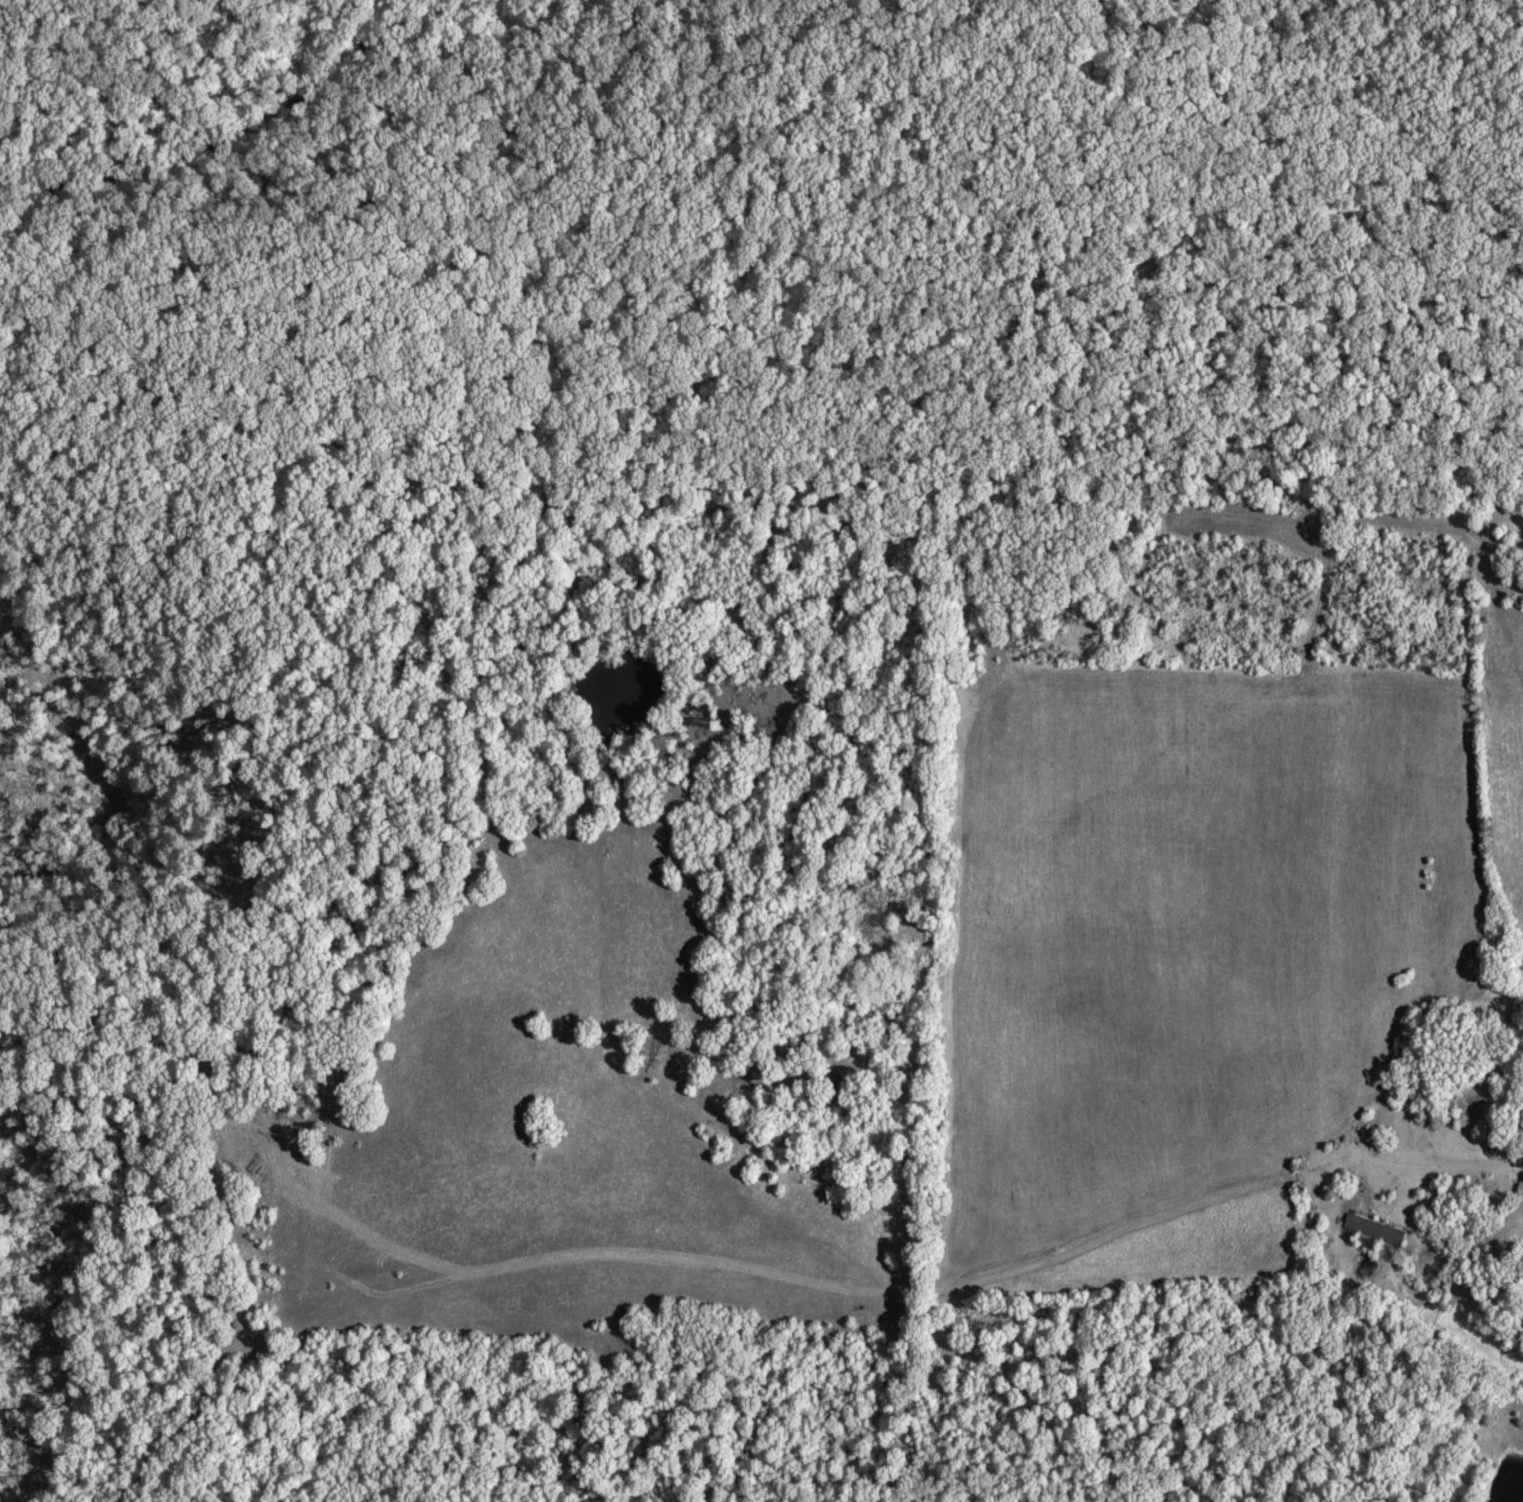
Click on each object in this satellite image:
building: (1379, 1228)
road: (784, 1280)

